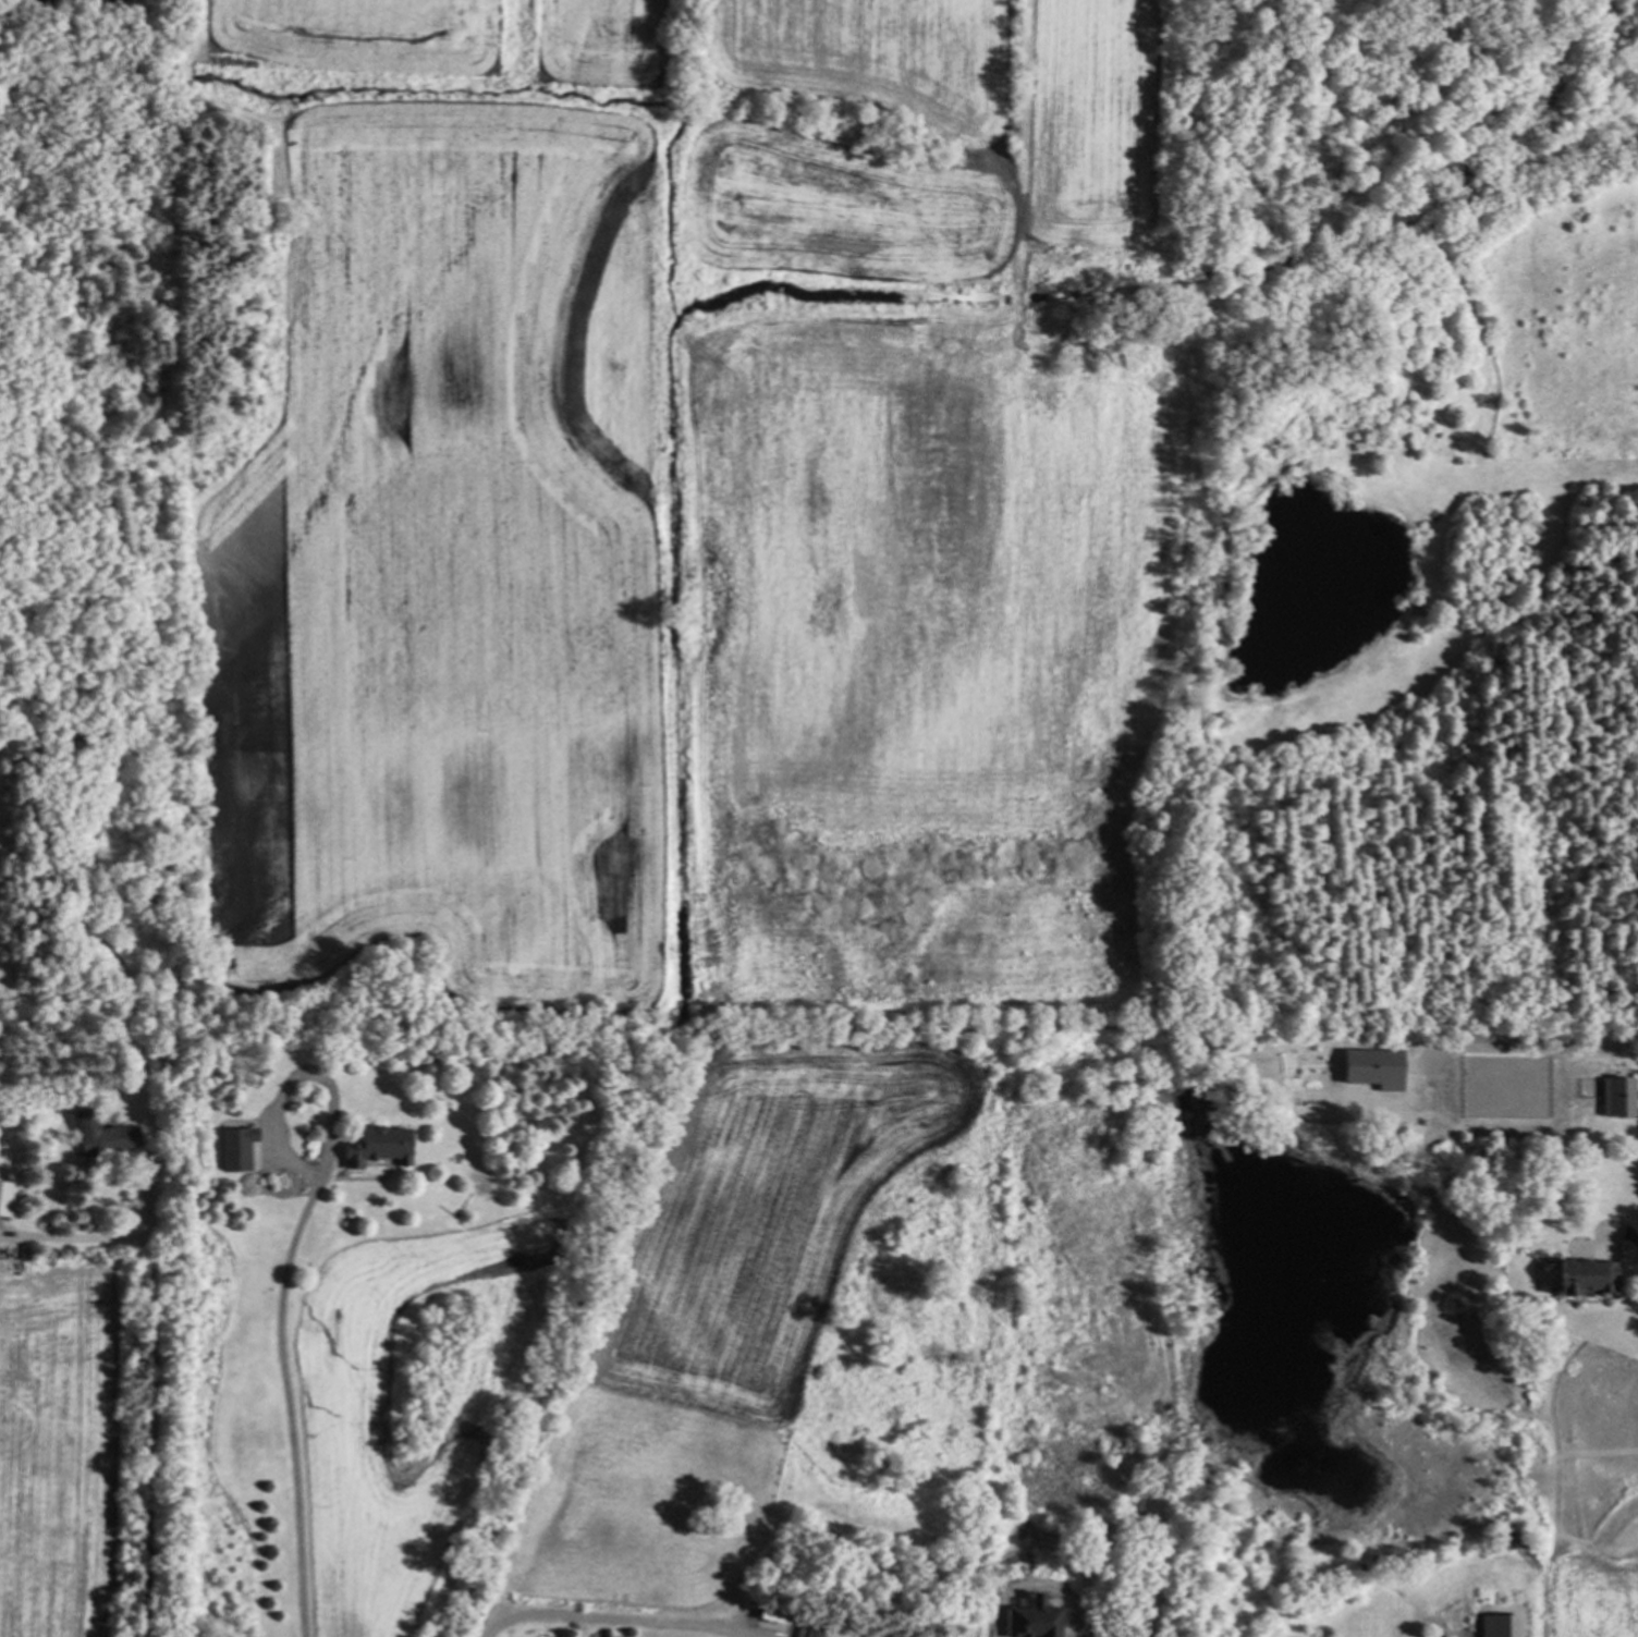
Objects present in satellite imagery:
crop: (712, 577)
building: (1370, 1067)
road: (297, 1078)
building: (1616, 1097)
building: (98, 1135)
building: (374, 1147)
building: (232, 1149)
building: (2, 1198)
road: (1626, 1232)
road: (75, 1237)
building: (1582, 1278)
road: (290, 1406)
road: (146, 1407)
road: (613, 1617)
building: (1496, 1626)

